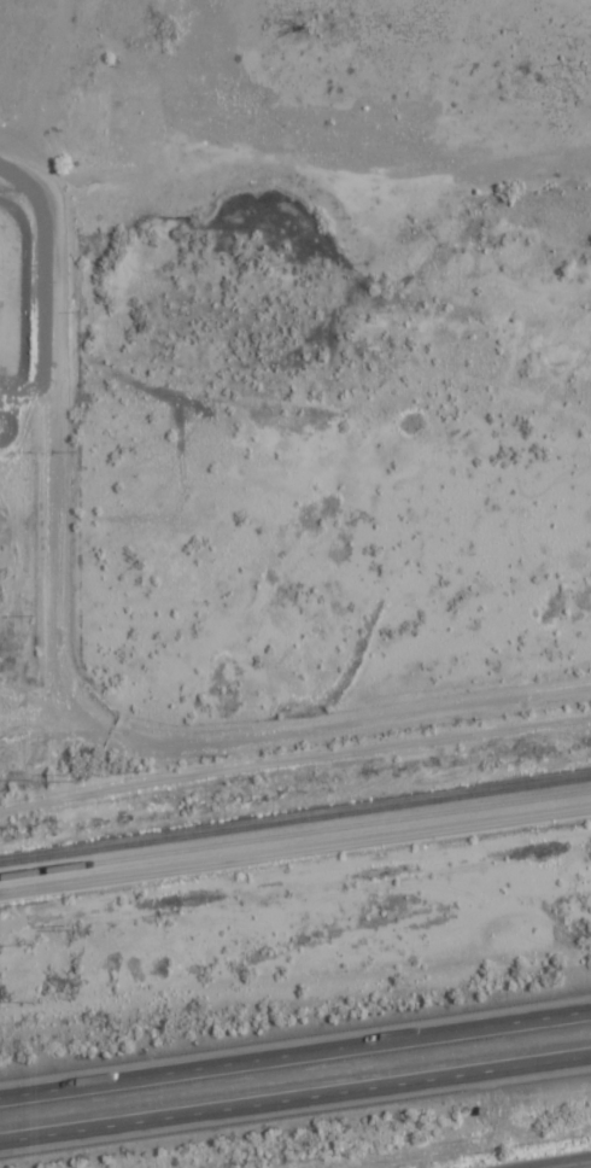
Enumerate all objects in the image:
road: (65, 577)
railway: (294, 816)
railway: (295, 833)
road: (294, 890)
road: (295, 1053)
road: (295, 1100)
road: (581, 1167)

